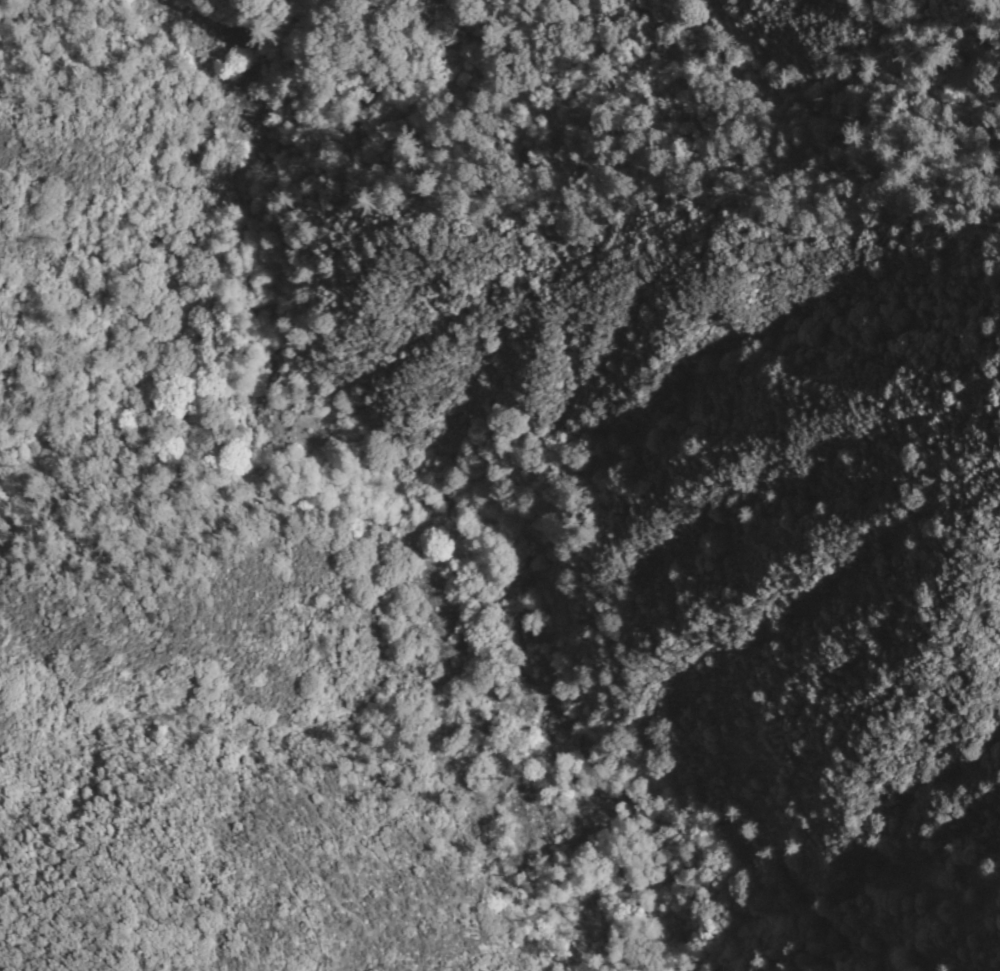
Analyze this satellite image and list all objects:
road: (340, 744)
road: (65, 933)

